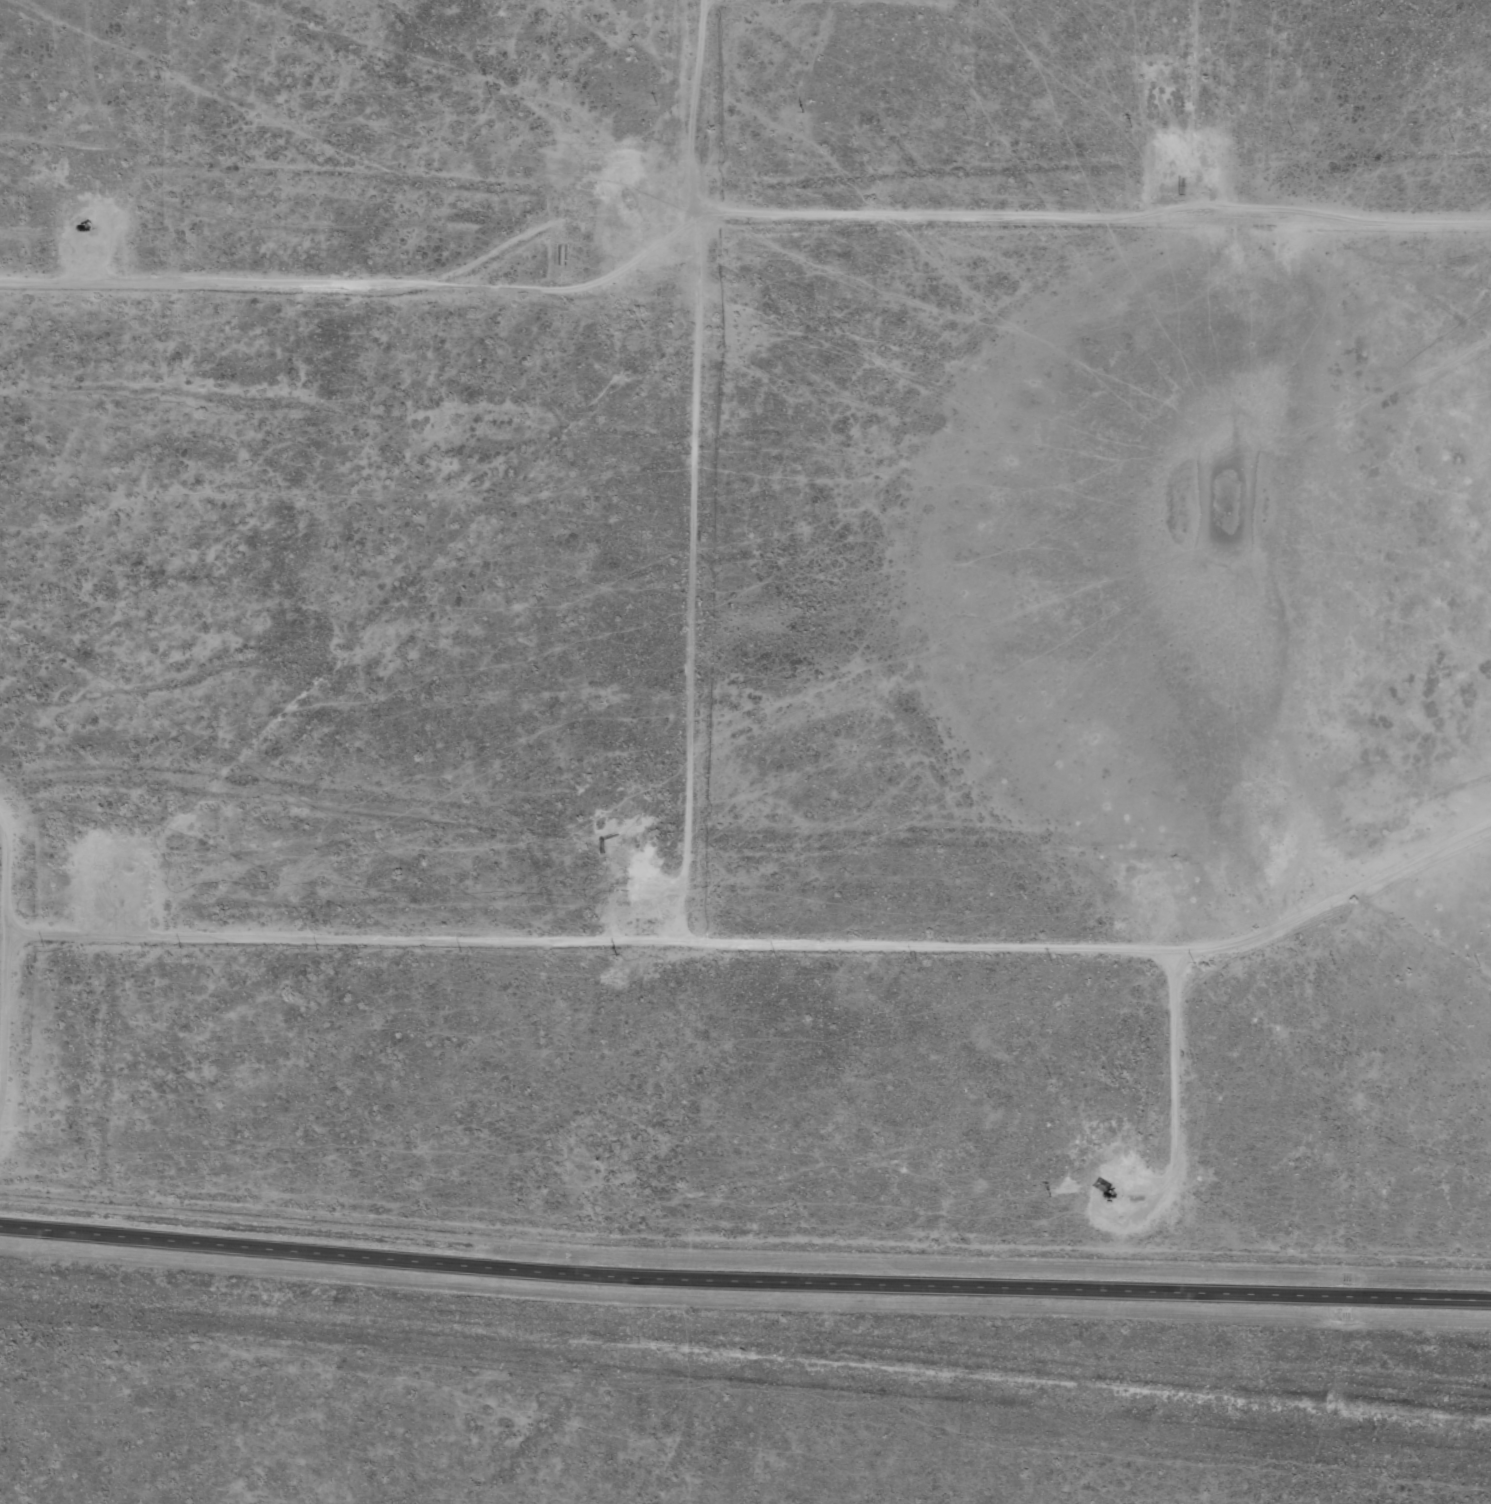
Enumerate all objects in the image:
road: (744, 1272)

